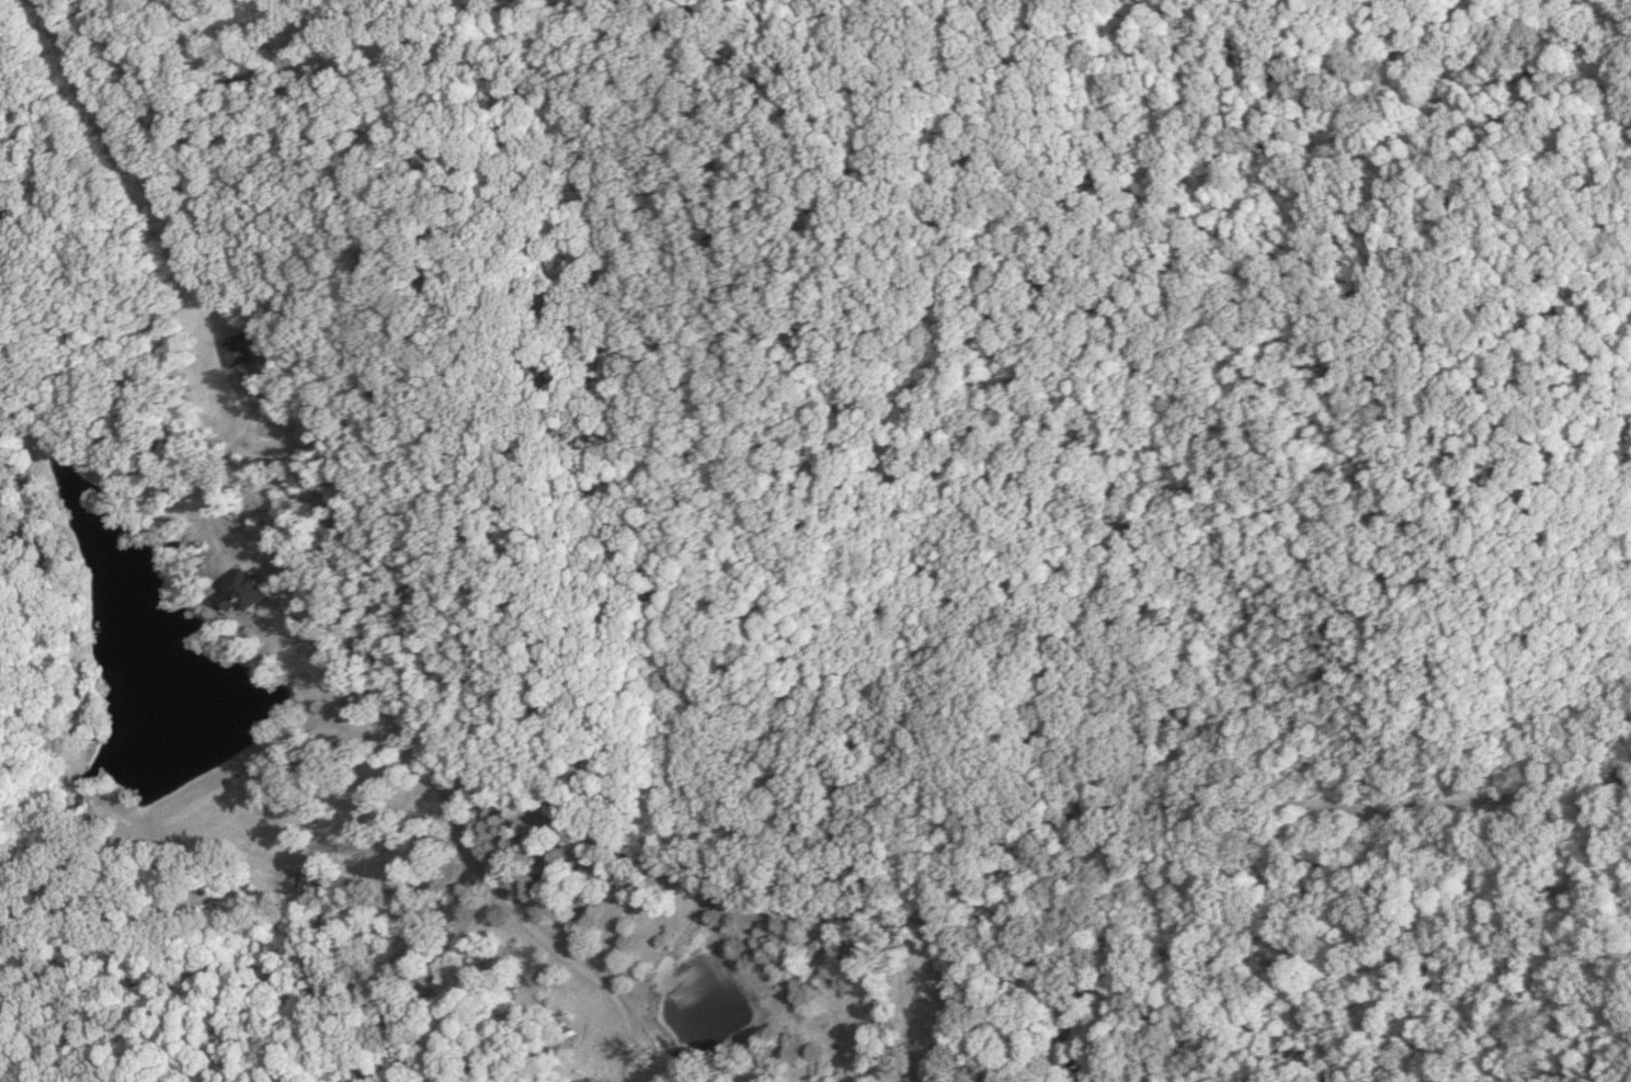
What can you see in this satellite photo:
building: (240, 349)
building: (243, 591)
road: (333, 686)
road: (403, 752)

